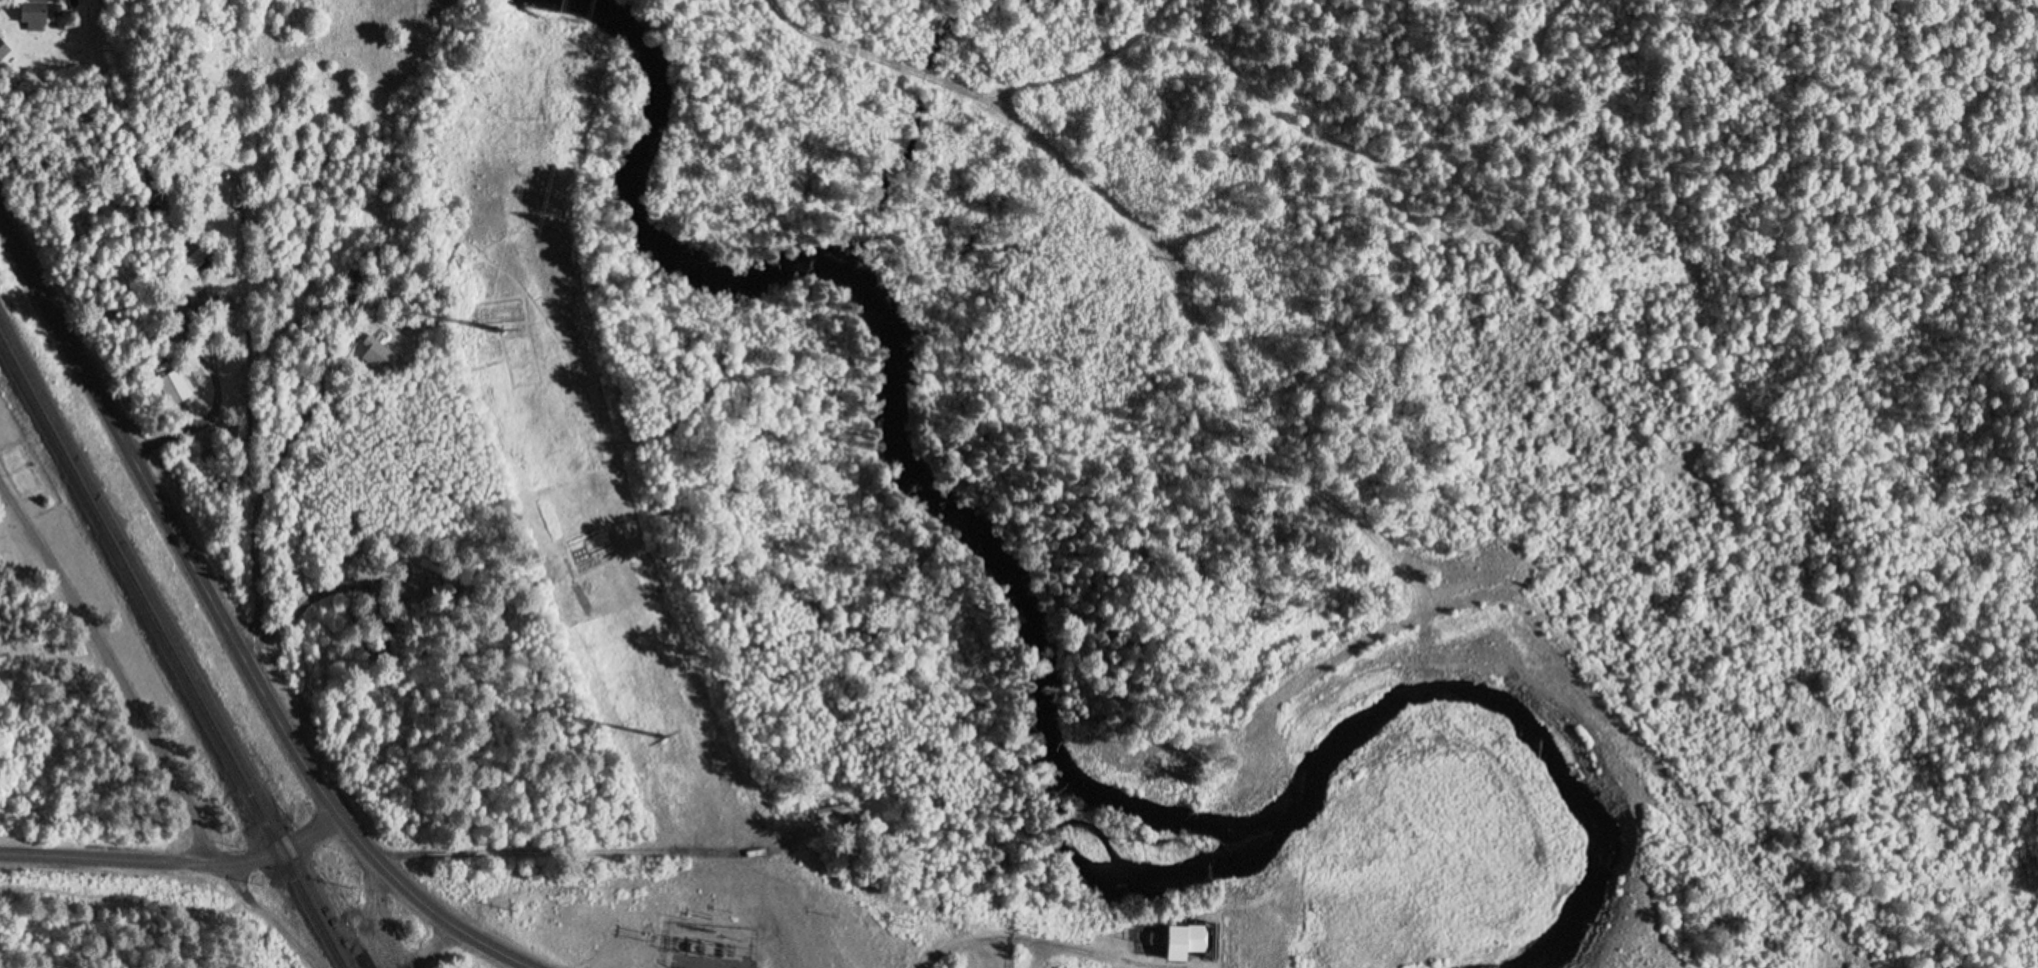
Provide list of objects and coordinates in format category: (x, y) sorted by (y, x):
building: (38, 10)
building: (3, 47)
road: (1157, 240)
power tower: (498, 331)
building: (177, 389)
river: (962, 538)
road: (224, 623)
railway: (178, 643)
road: (1336, 651)
railway: (171, 653)
park: (103, 659)
road: (111, 677)
power tower: (663, 737)
road: (585, 854)
road: (177, 864)
dam: (1247, 876)
road: (124, 899)
road: (382, 915)
road: (267, 918)
building: (1177, 944)
road: (432, 946)
power substation: (710, 947)

